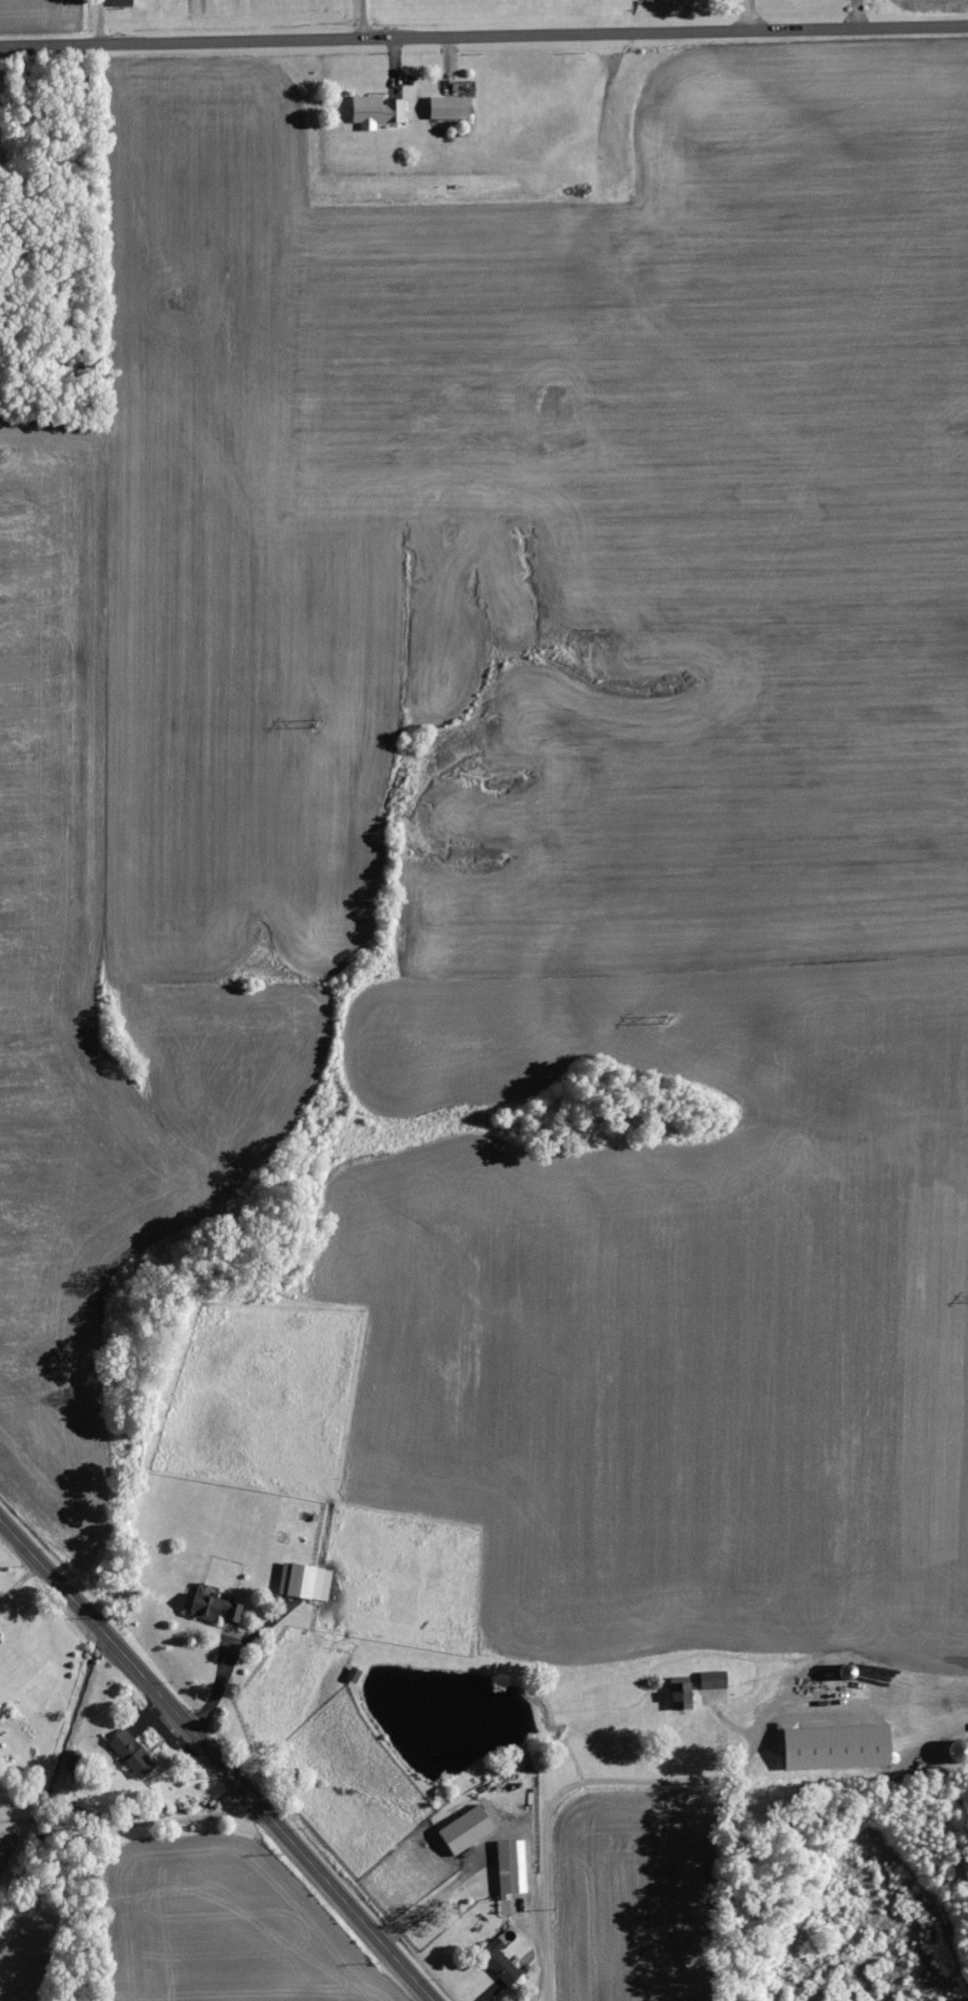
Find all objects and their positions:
building: (122, 2)
road: (748, 14)
road: (362, 18)
road: (483, 34)
building: (451, 107)
building: (377, 111)
building: (305, 1581)
building: (216, 1609)
building: (0, 1641)
road: (219, 1671)
building: (714, 1679)
building: (683, 1690)
building: (838, 1746)
building: (134, 1754)
road: (218, 1758)
road: (563, 1789)
road: (130, 1822)
building: (467, 1829)
building: (512, 1867)
building: (500, 1962)

